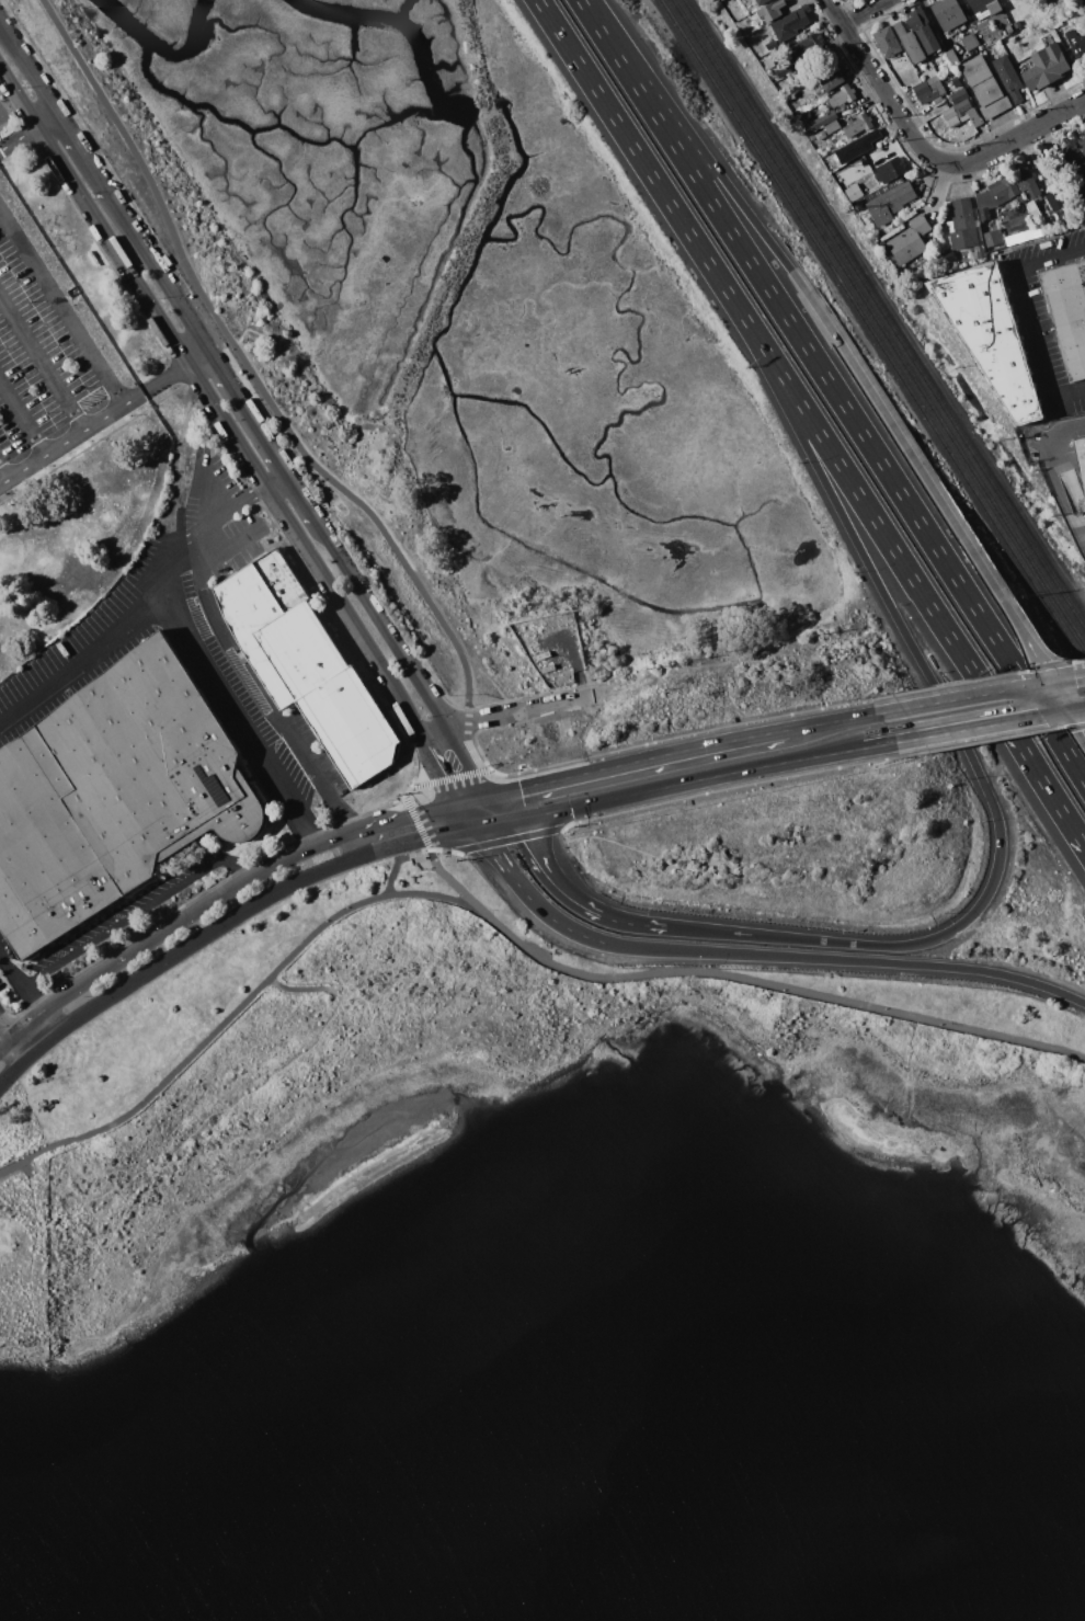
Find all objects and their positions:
building: (1047, 0)
road: (581, 1)
building: (762, 1)
building: (1084, 4)
building: (985, 8)
building: (772, 11)
road: (868, 13)
building: (949, 15)
building: (791, 24)
building: (1057, 24)
building: (1009, 28)
building: (923, 31)
building: (1000, 35)
building: (887, 42)
building: (970, 42)
building: (910, 43)
building: (1076, 44)
building: (772, 45)
building: (803, 46)
building: (952, 56)
building: (898, 61)
building: (1046, 67)
building: (784, 71)
building: (770, 77)
road: (875, 77)
building: (1007, 77)
building: (832, 81)
building: (984, 87)
building: (819, 89)
building: (927, 89)
building: (959, 95)
building: (842, 96)
building: (808, 99)
building: (936, 101)
building: (962, 106)
building: (948, 113)
building: (974, 117)
building: (964, 119)
building: (818, 121)
road: (43, 124)
building: (859, 124)
building: (833, 127)
building: (821, 135)
road: (16, 140)
road: (1006, 142)
building: (1083, 145)
building: (858, 147)
building: (1037, 161)
building: (1074, 165)
building: (893, 170)
road: (650, 174)
road: (710, 174)
building: (847, 182)
building: (1007, 189)
building: (854, 193)
building: (889, 201)
building: (1031, 204)
building: (1060, 206)
building: (962, 224)
building: (992, 238)
building: (910, 240)
building: (981, 254)
road: (62, 305)
building: (1067, 313)
railway: (883, 316)
road: (1029, 316)
railway: (878, 324)
railway: (871, 333)
building: (991, 335)
road: (197, 359)
road: (42, 367)
road: (255, 375)
road: (226, 379)
road: (834, 391)
road: (23, 421)
road: (93, 426)
road: (242, 452)
building: (1081, 457)
road: (4, 475)
road: (1062, 478)
road: (948, 513)
road: (881, 530)
road: (230, 549)
building: (279, 629)
road: (191, 642)
road: (82, 665)
road: (242, 665)
road: (982, 694)
road: (1066, 695)
road: (1073, 710)
road: (525, 712)
road: (1080, 717)
road: (833, 722)
building: (352, 727)
road: (962, 729)
road: (439, 730)
road: (267, 732)
road: (475, 761)
road: (641, 761)
road: (975, 769)
road: (1041, 780)
road: (688, 781)
road: (418, 789)
building: (113, 795)
road: (481, 797)
road: (505, 807)
road: (402, 818)
road: (498, 824)
road: (426, 836)
road: (495, 845)
road: (399, 864)
road: (453, 880)
road: (572, 900)
road: (138, 912)
road: (187, 914)
road: (502, 928)
road: (178, 954)
road: (784, 958)
parking lot: (3, 978)
road: (20, 982)
road: (302, 986)
road: (28, 1024)
road: (5, 1028)
road: (5, 1042)
road: (21, 1047)

